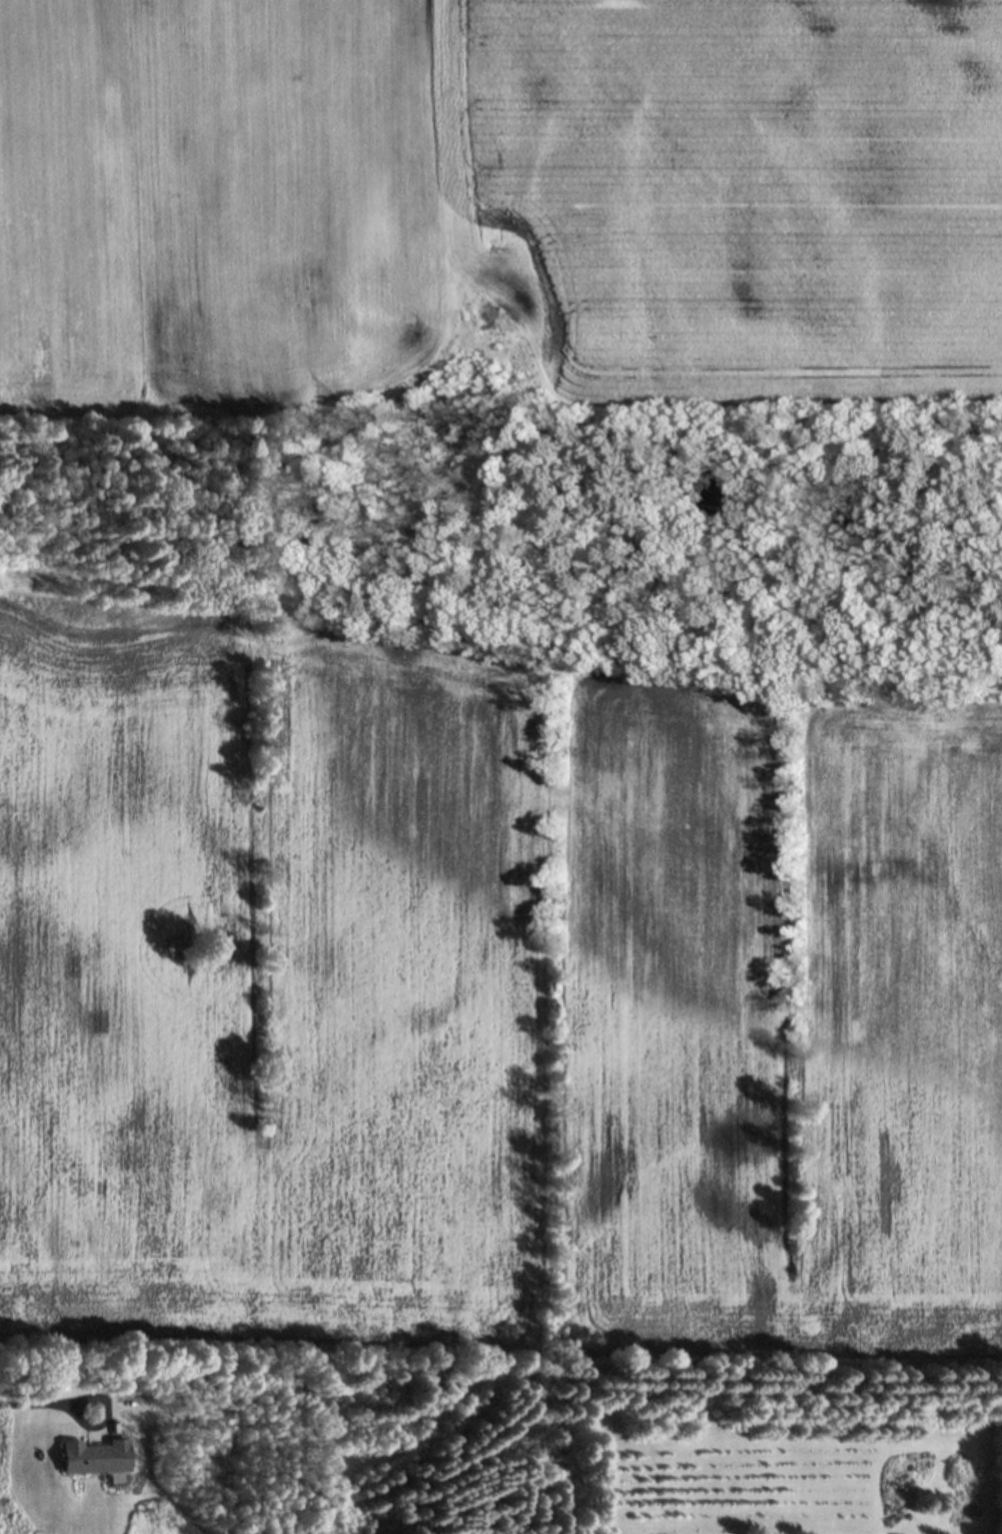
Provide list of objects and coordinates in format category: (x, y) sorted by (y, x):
crop: (497, 206)
crop: (485, 1000)
park: (637, 1449)
building: (97, 1456)

